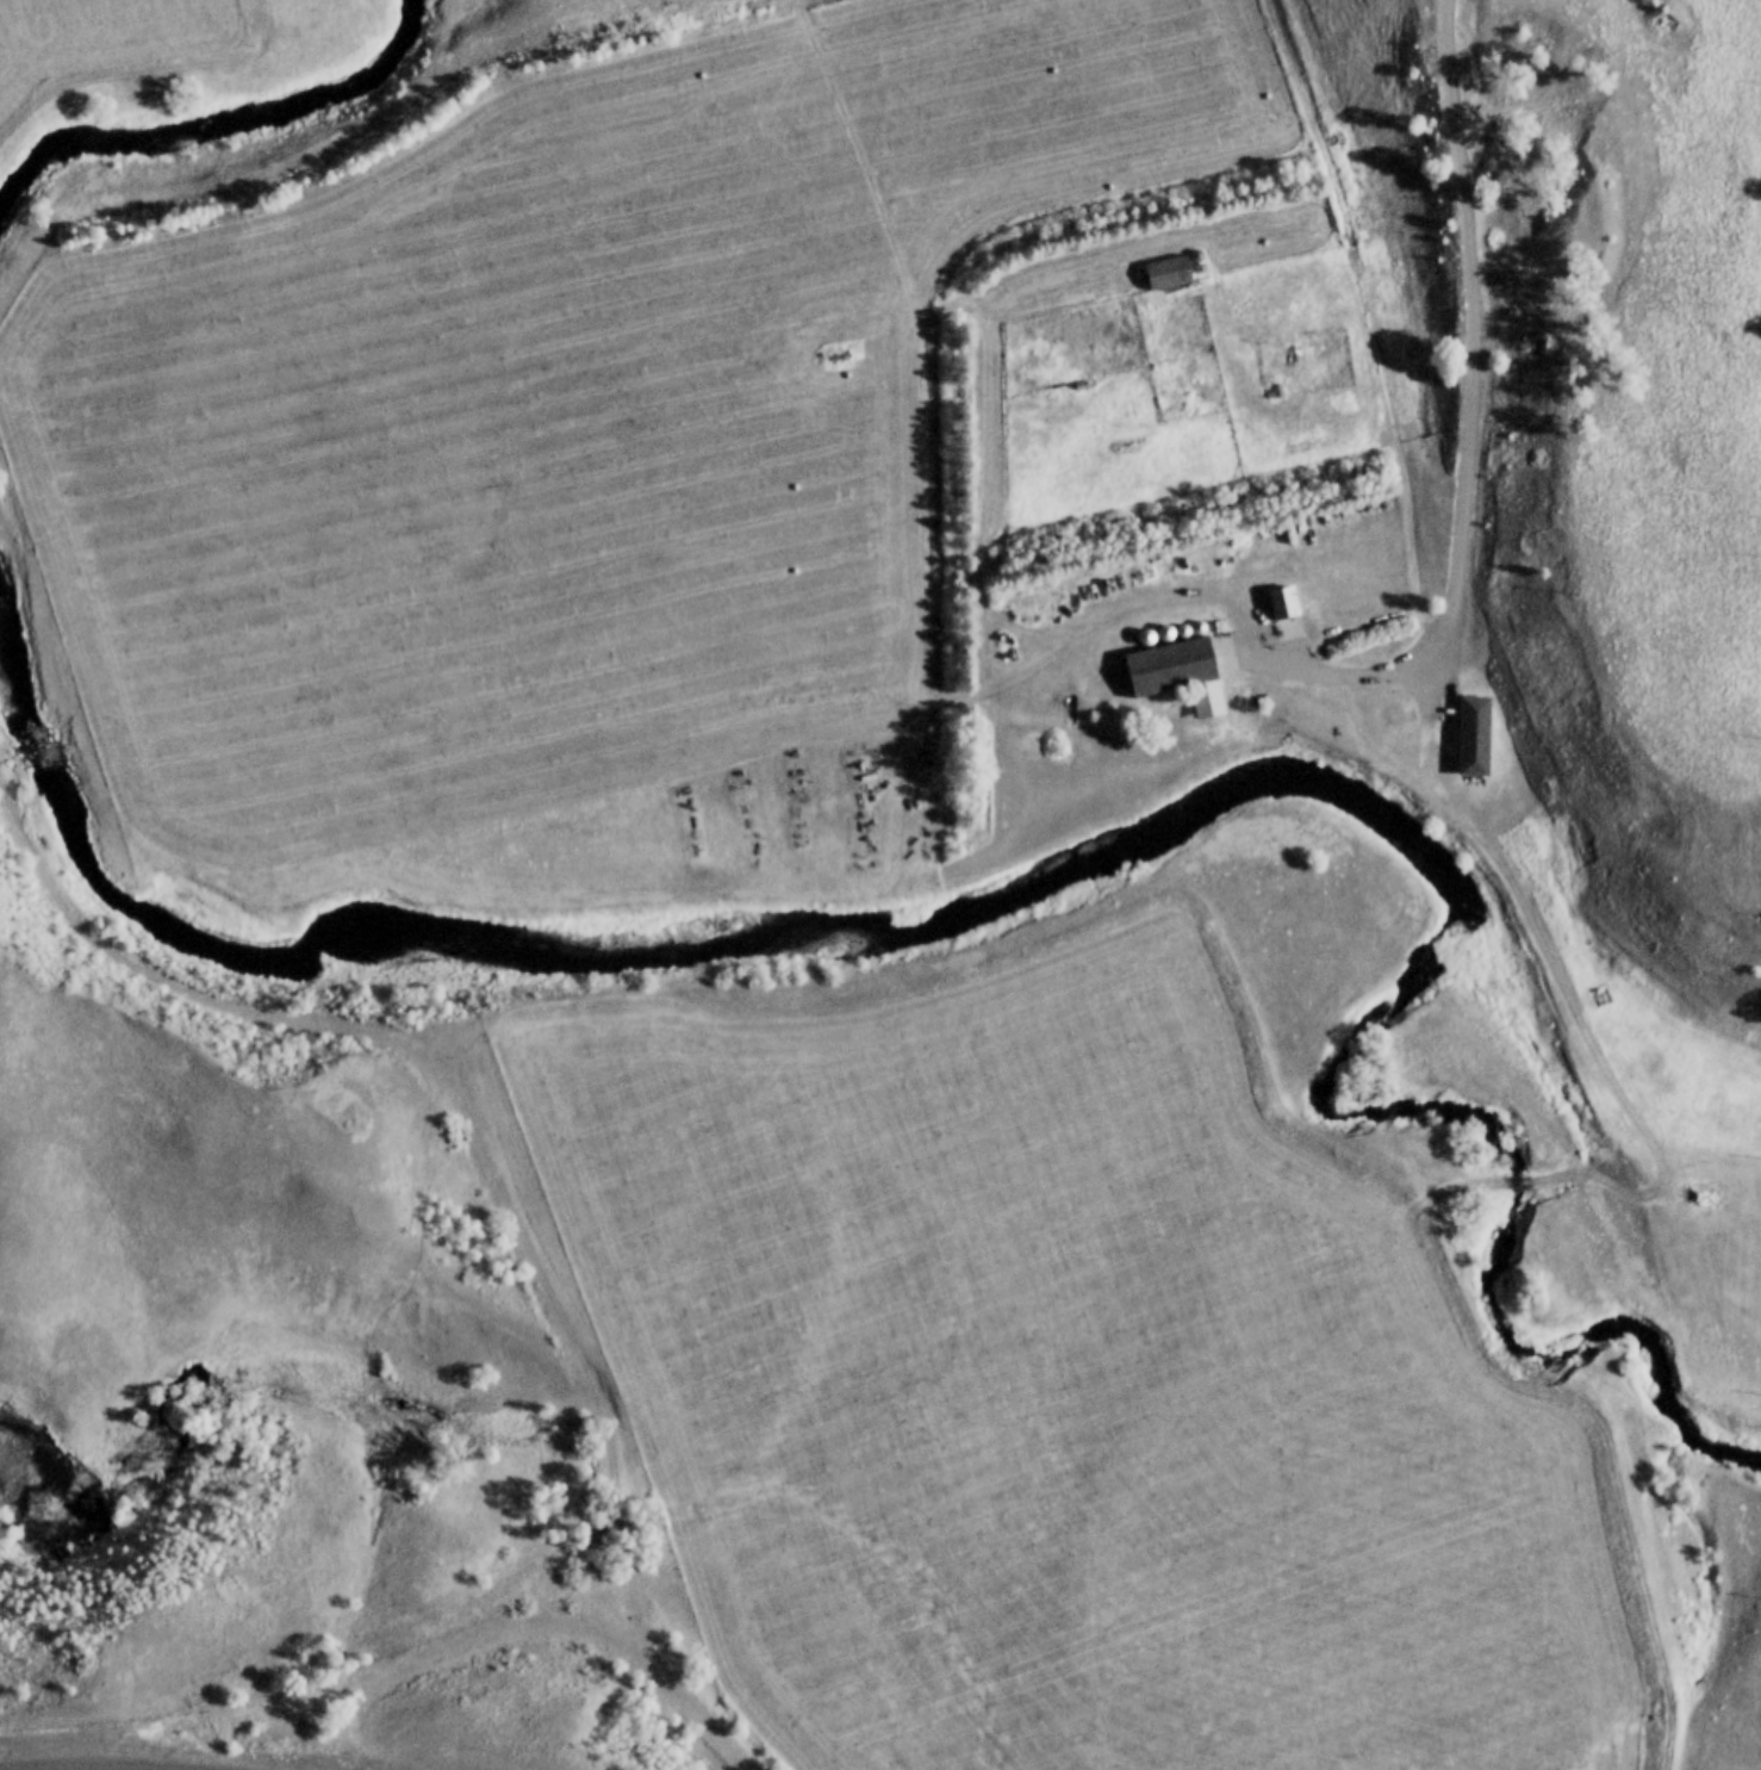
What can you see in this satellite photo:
building: (1166, 274)
building: (1283, 603)
road: (1452, 609)
building: (1175, 667)
building: (1236, 696)
building: (1474, 737)
building: (1599, 998)
road: (1655, 1175)

